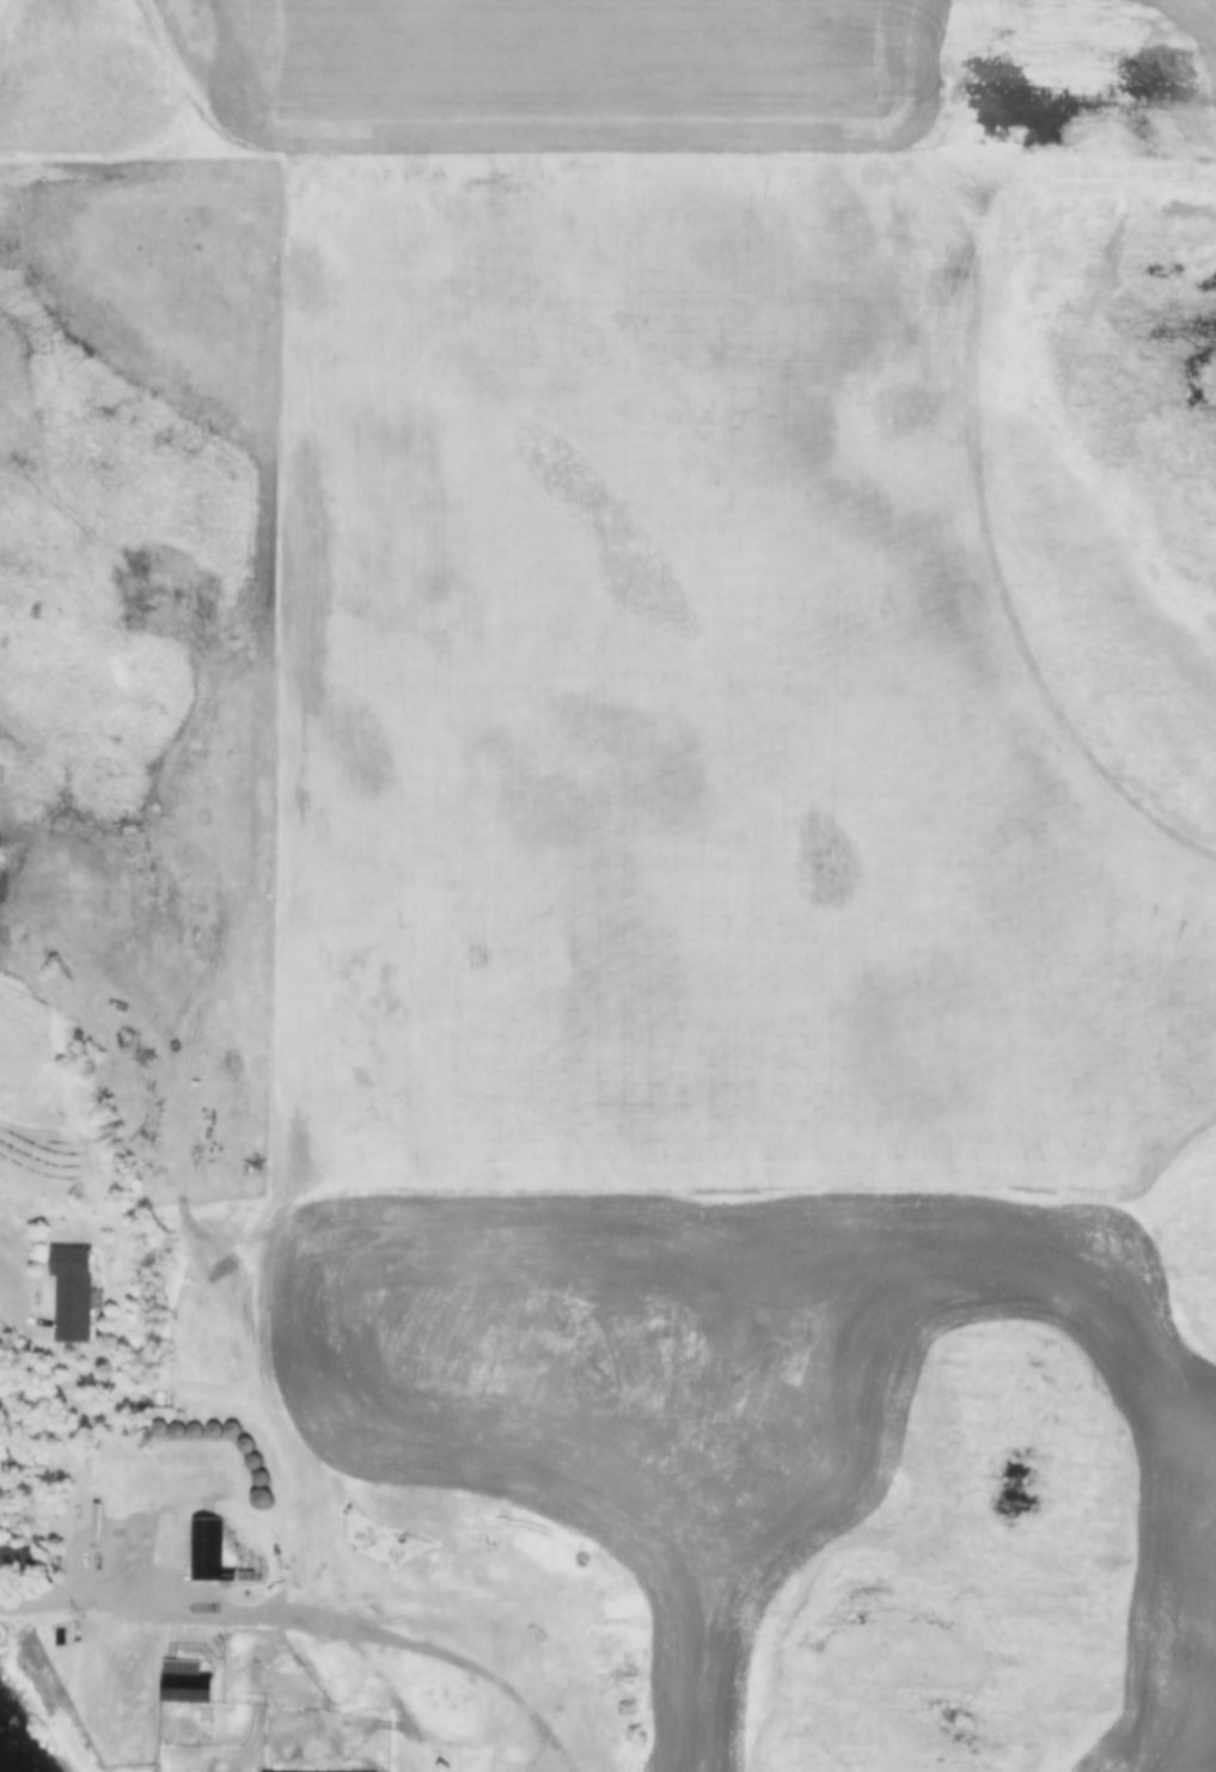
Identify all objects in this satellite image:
road: (4, 1269)
building: (69, 1294)
building: (169, 1431)
building: (204, 1548)
building: (17, 1559)
road: (128, 1601)
road: (436, 1654)
building: (184, 1691)

